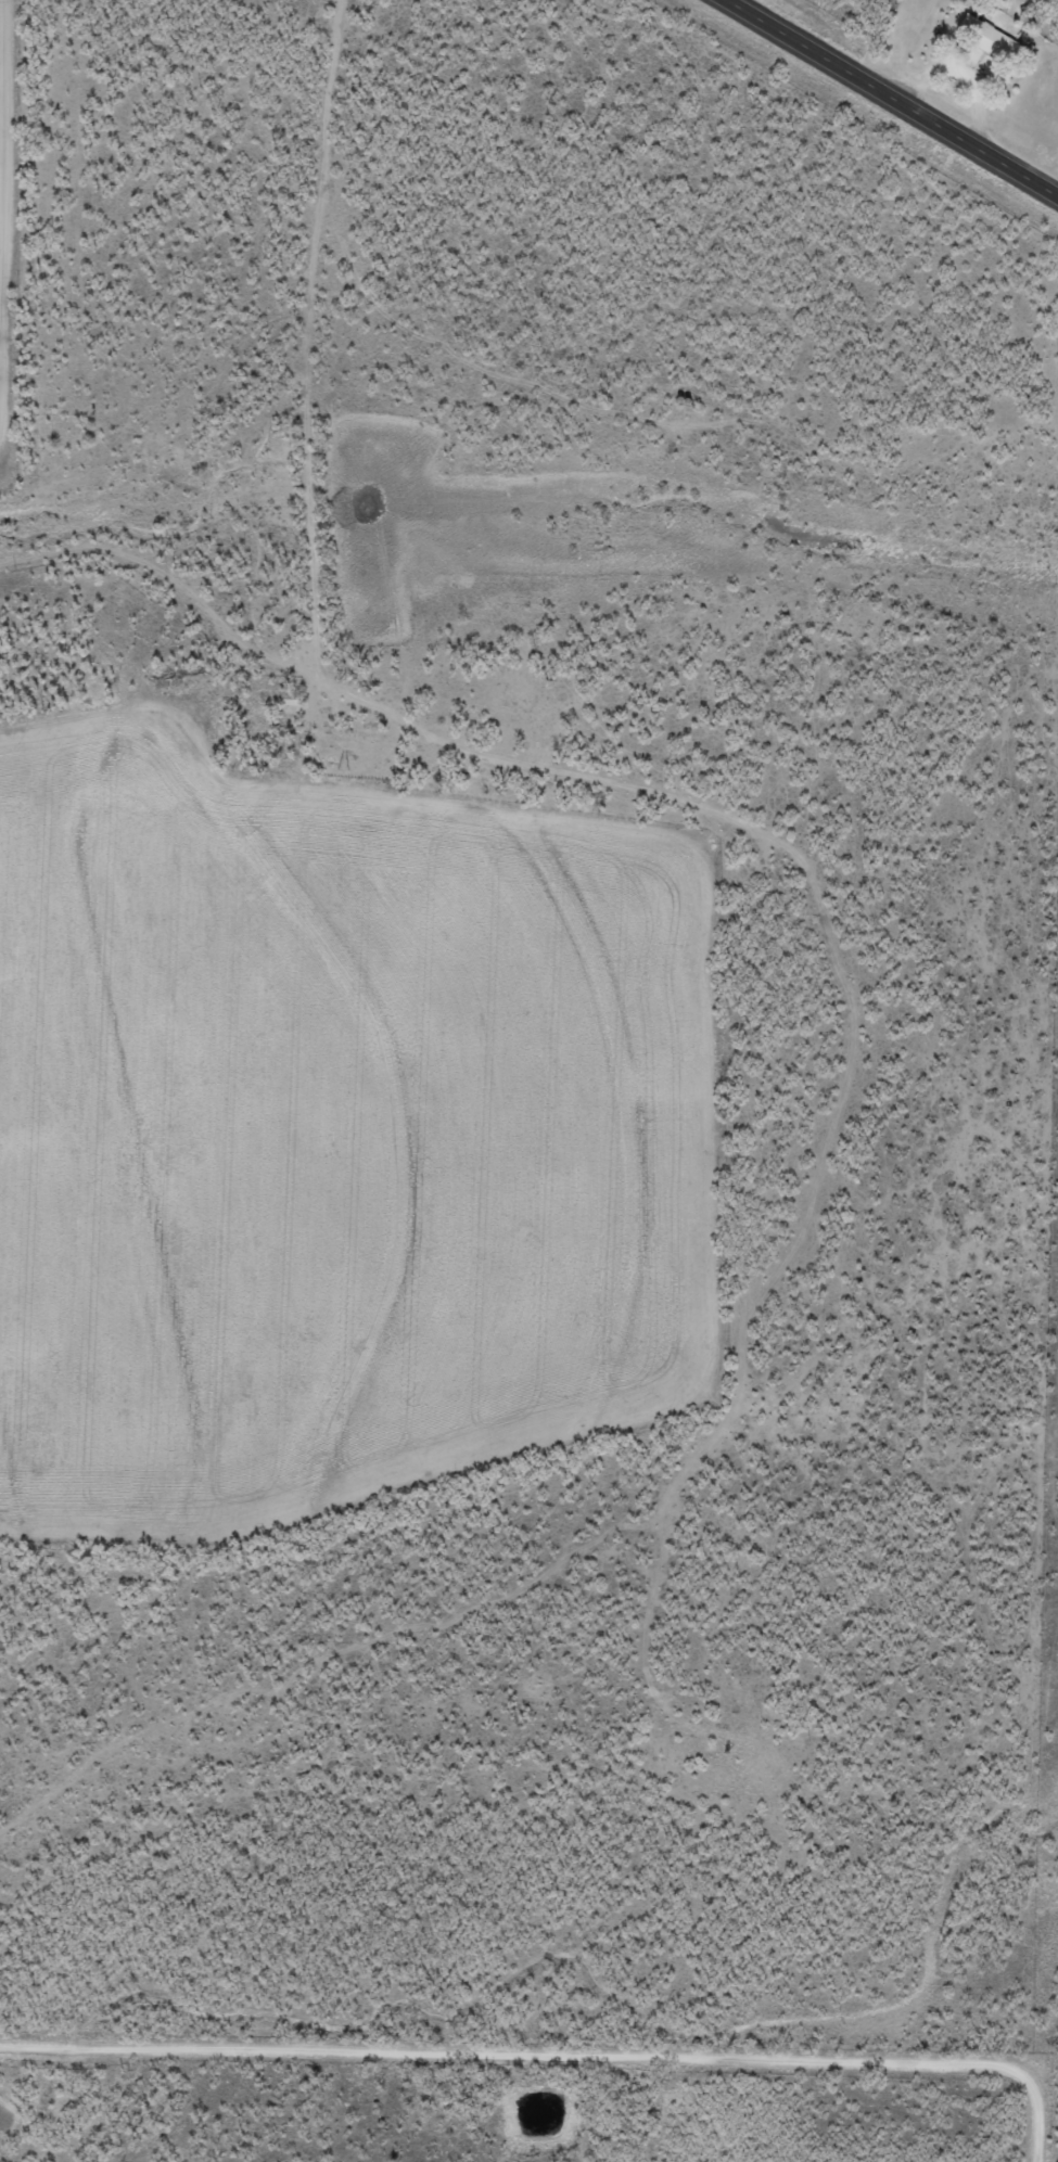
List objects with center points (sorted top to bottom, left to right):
building: (993, 40)
road: (888, 100)
road: (557, 2057)

